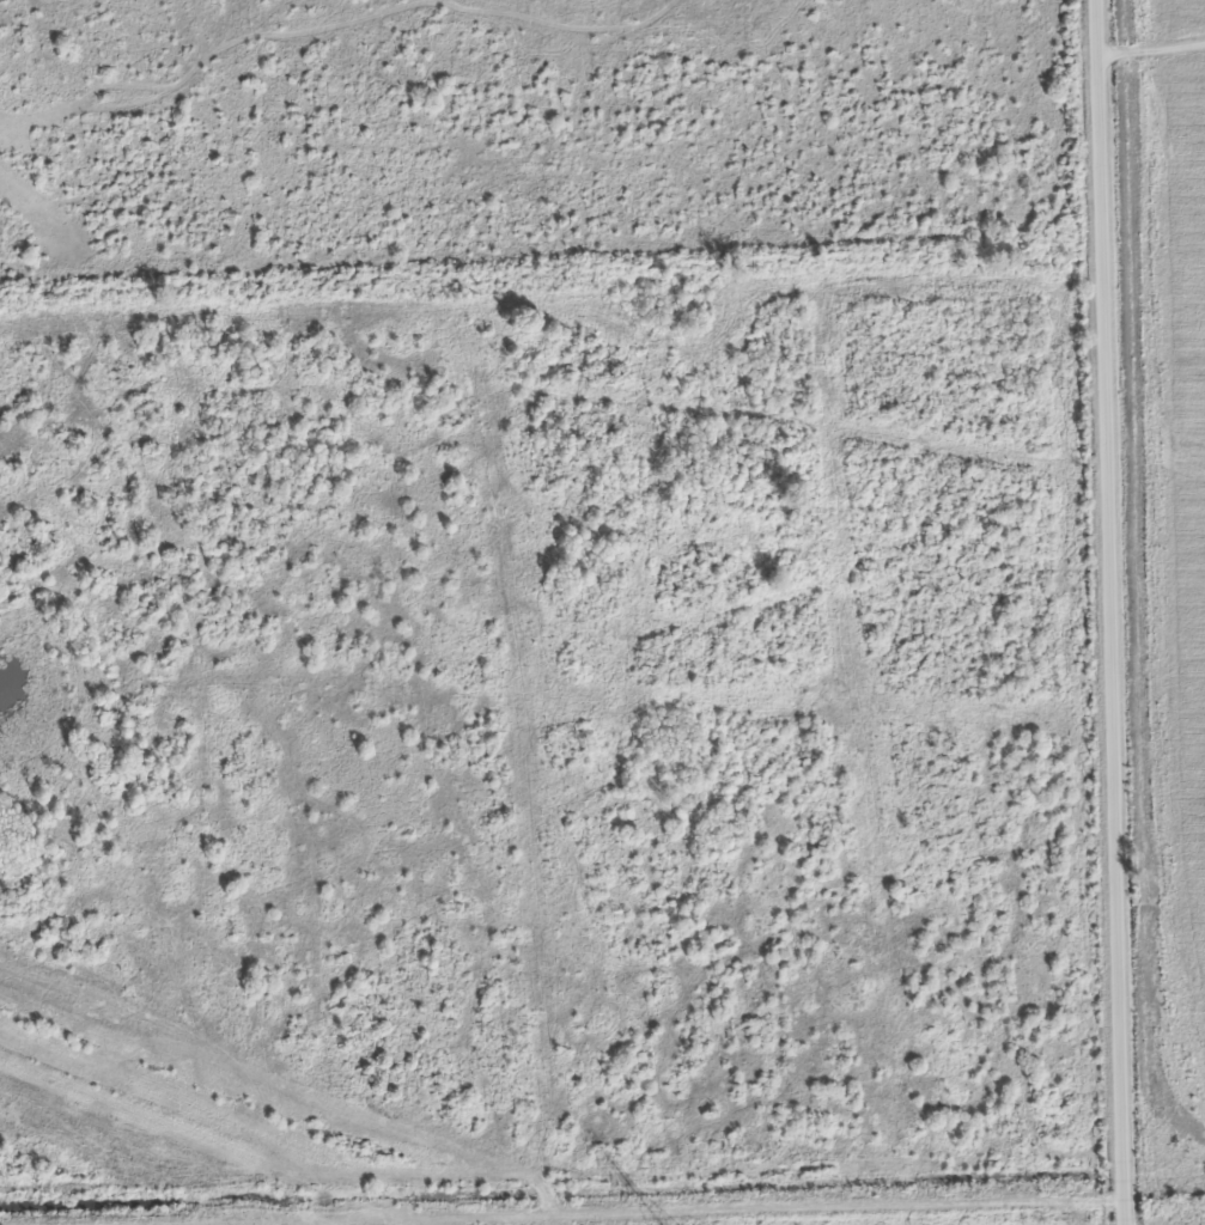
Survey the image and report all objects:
road: (1113, 612)
road: (929, 1213)

